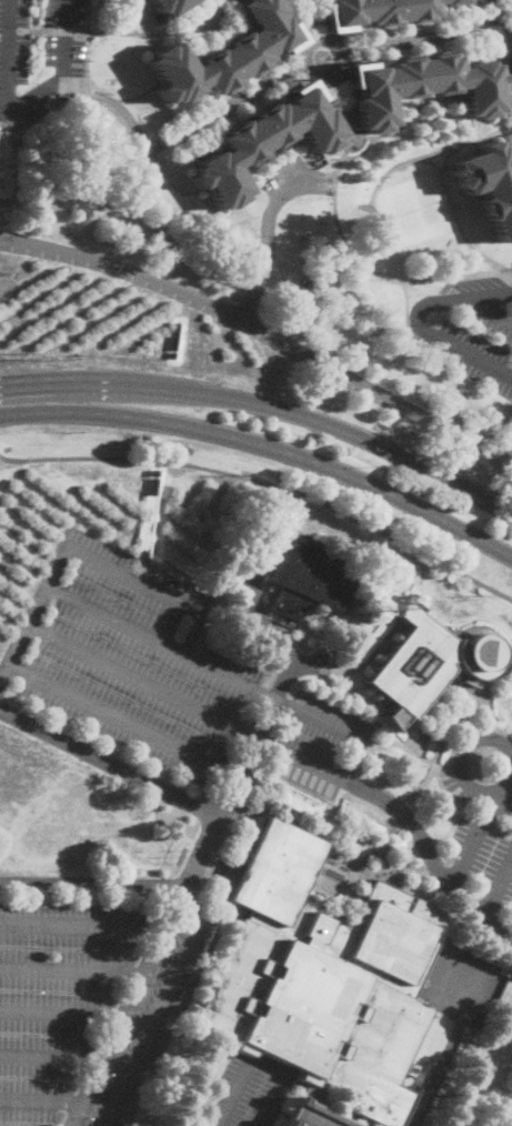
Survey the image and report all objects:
road: (508, 3)
building: (168, 6)
building: (380, 11)
road: (135, 16)
road: (308, 22)
road: (506, 29)
road: (118, 33)
road: (423, 36)
building: (223, 54)
parking lot: (38, 56)
road: (321, 57)
road: (321, 57)
road: (307, 61)
building: (421, 87)
road: (93, 91)
road: (21, 100)
road: (337, 102)
road: (391, 131)
road: (183, 133)
building: (261, 143)
road: (358, 152)
road: (433, 154)
road: (445, 159)
road: (162, 171)
parking lot: (292, 181)
building: (490, 187)
road: (26, 200)
park: (415, 211)
road: (455, 218)
road: (264, 244)
road: (332, 264)
road: (369, 269)
building: (303, 291)
road: (490, 310)
road: (419, 322)
parking lot: (471, 328)
road: (262, 331)
road: (23, 383)
road: (289, 412)
road: (267, 444)
road: (267, 483)
building: (309, 579)
road: (152, 590)
road: (253, 601)
road: (33, 619)
road: (207, 666)
building: (431, 666)
road: (143, 683)
parking lot: (160, 688)
road: (275, 697)
road: (362, 697)
road: (124, 724)
road: (461, 765)
road: (110, 766)
road: (434, 767)
road: (428, 778)
road: (501, 794)
road: (493, 797)
road: (505, 804)
road: (488, 821)
road: (503, 827)
parking lot: (481, 835)
road: (475, 844)
road: (432, 858)
road: (94, 883)
road: (189, 887)
road: (499, 891)
road: (83, 928)
building: (505, 968)
road: (72, 972)
building: (324, 982)
parking lot: (89, 991)
road: (164, 1007)
road: (62, 1016)
road: (446, 1056)
road: (51, 1060)
road: (259, 1064)
road: (41, 1104)

